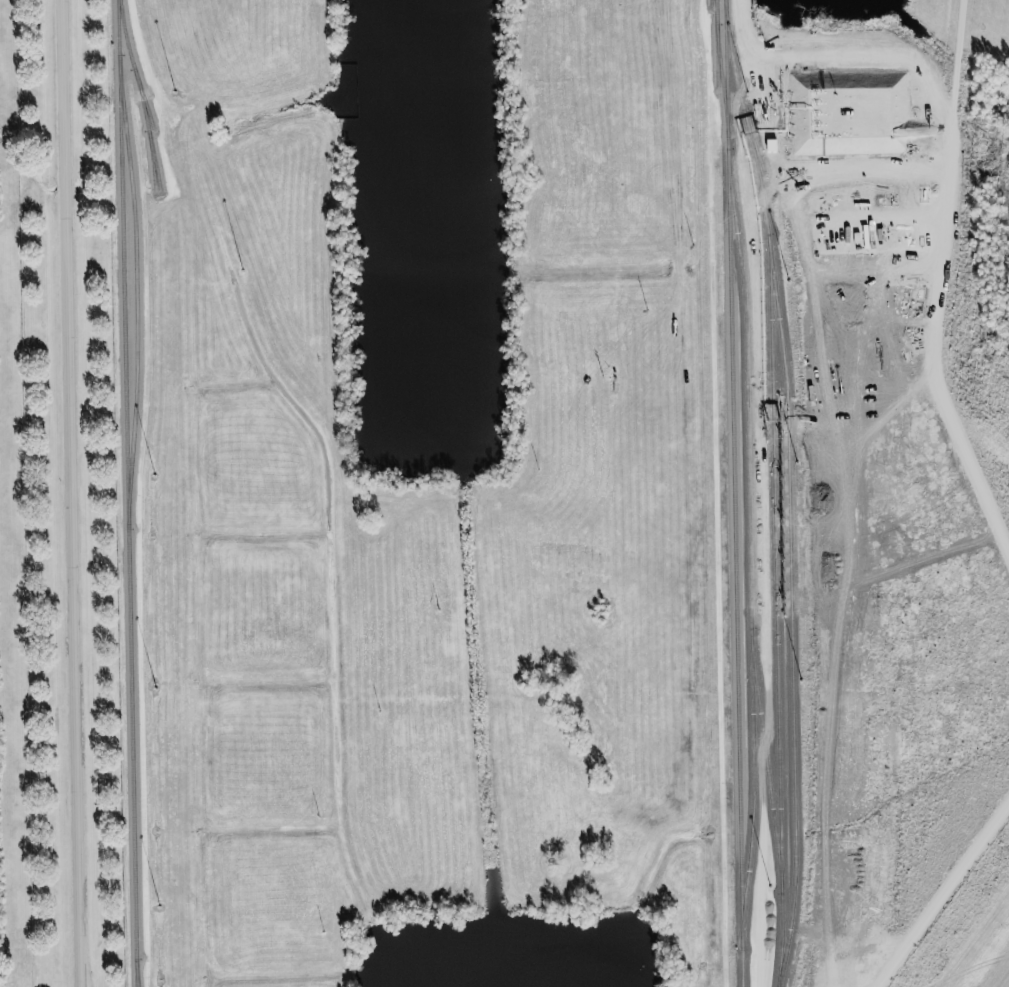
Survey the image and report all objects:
railway: (711, 2)
railway: (727, 26)
railway: (717, 54)
railway: (721, 69)
railway: (726, 69)
road: (835, 69)
railway: (140, 93)
railway: (143, 97)
railway: (154, 158)
road: (675, 197)
road: (939, 281)
railway: (136, 290)
road: (70, 493)
railway: (127, 493)
railway: (735, 562)
railway: (136, 973)
railway: (746, 975)

